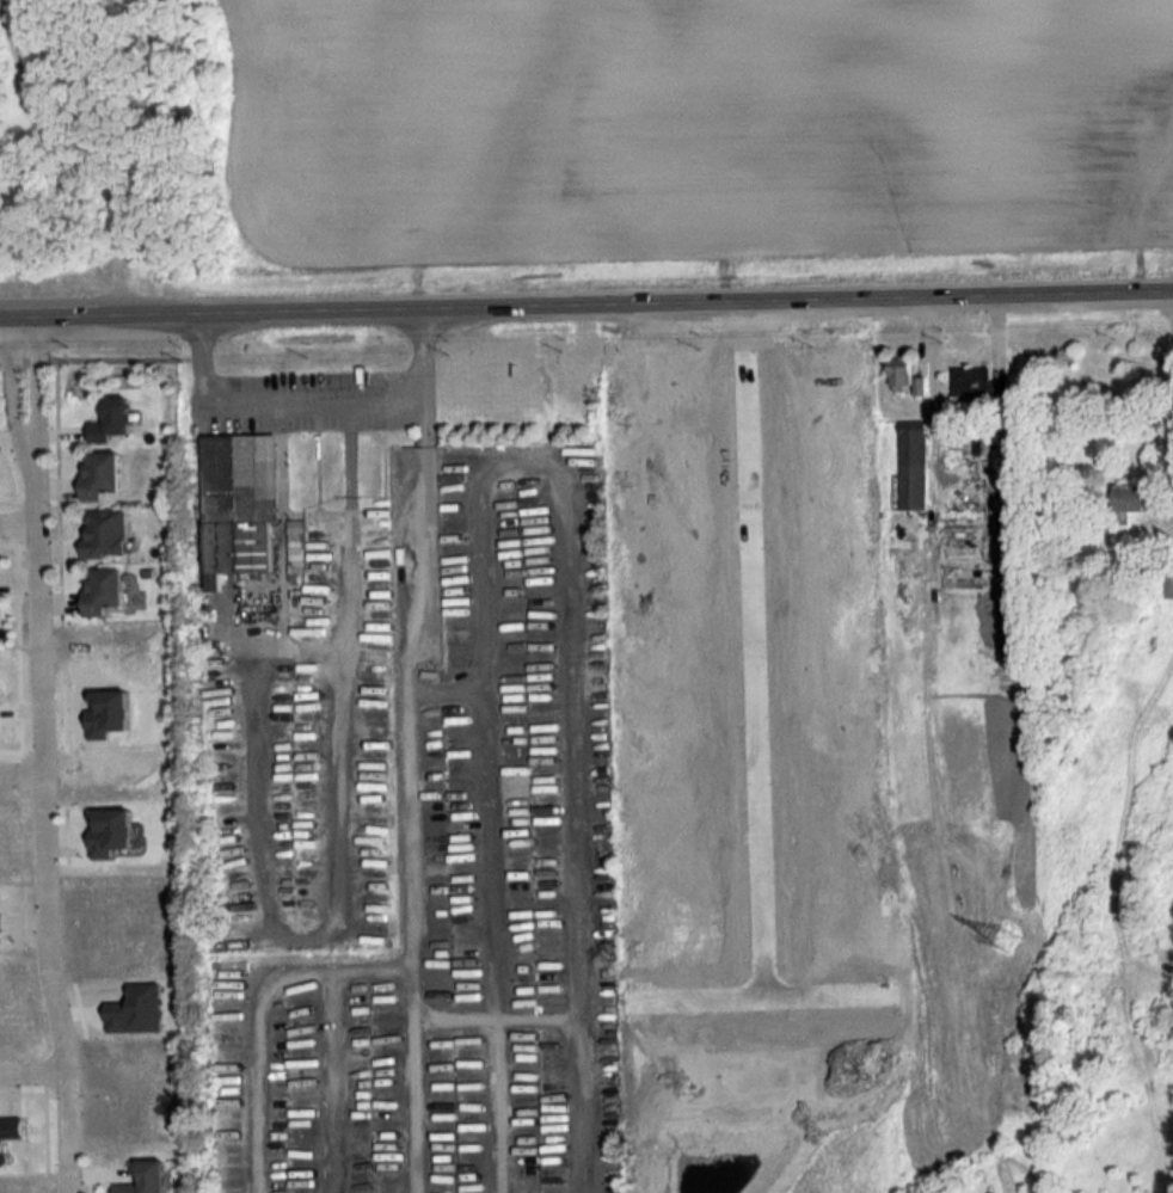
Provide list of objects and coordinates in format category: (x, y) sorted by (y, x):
crop: (690, 125)
road: (585, 303)
road: (93, 356)
road: (929, 363)
building: (903, 375)
building: (977, 386)
building: (657, 389)
road: (313, 400)
building: (717, 419)
building: (111, 420)
building: (911, 466)
building: (102, 474)
building: (239, 499)
building: (1135, 500)
road: (19, 525)
building: (105, 534)
building: (1166, 582)
building: (103, 590)
road: (754, 646)
road: (42, 755)
road: (22, 773)
power tower: (1009, 946)
road: (757, 992)
road: (32, 1072)
building: (11, 1127)
building: (146, 1179)

